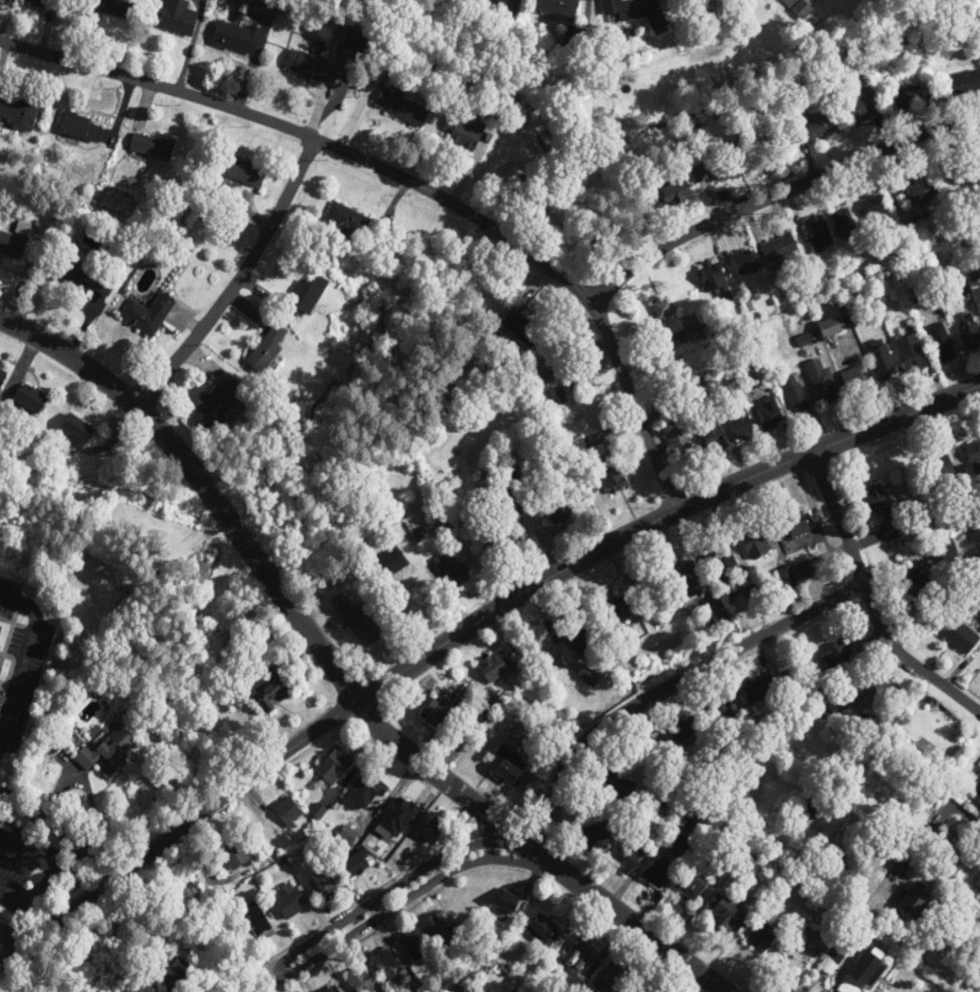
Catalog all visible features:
building: (42, 3)
building: (110, 7)
building: (555, 7)
building: (633, 10)
building: (801, 10)
building: (174, 17)
building: (233, 38)
building: (311, 67)
building: (959, 87)
building: (907, 97)
building: (400, 109)
building: (862, 109)
building: (18, 112)
building: (817, 126)
building: (79, 128)
building: (461, 134)
building: (150, 146)
building: (725, 168)
building: (239, 171)
road: (414, 182)
building: (921, 191)
road: (776, 193)
building: (672, 194)
building: (875, 208)
building: (346, 221)
building: (844, 224)
building: (818, 234)
building: (14, 242)
building: (779, 249)
building: (745, 262)
building: (83, 277)
road: (240, 279)
building: (713, 280)
building: (305, 294)
building: (663, 308)
building: (146, 315)
building: (520, 328)
building: (829, 328)
building: (693, 329)
building: (969, 334)
building: (943, 343)
building: (266, 351)
building: (912, 354)
building: (883, 362)
building: (746, 373)
building: (1, 374)
building: (576, 376)
building: (855, 380)
building: (822, 382)
road: (608, 391)
building: (795, 394)
building: (30, 400)
building: (216, 403)
building: (769, 415)
building: (739, 422)
building: (75, 432)
building: (711, 435)
building: (681, 446)
building: (576, 447)
building: (974, 457)
building: (382, 470)
building: (942, 471)
building: (611, 476)
building: (507, 501)
building: (558, 505)
building: (887, 513)
building: (798, 526)
building: (502, 538)
building: (755, 545)
building: (724, 563)
building: (390, 564)
building: (451, 570)
building: (805, 571)
building: (787, 578)
building: (687, 582)
building: (910, 586)
road: (871, 602)
building: (620, 610)
building: (362, 621)
building: (958, 629)
road: (465, 630)
building: (576, 636)
building: (837, 655)
road: (26, 657)
building: (3, 666)
building: (494, 668)
road: (339, 672)
road: (667, 686)
building: (270, 689)
building: (760, 690)
building: (433, 713)
building: (685, 731)
building: (105, 754)
building: (334, 767)
building: (508, 769)
building: (619, 787)
road: (87, 790)
building: (978, 793)
building: (288, 813)
road: (970, 816)
building: (397, 817)
road: (61, 830)
building: (430, 833)
building: (591, 837)
building: (678, 845)
building: (952, 848)
building: (234, 854)
building: (629, 856)
road: (73, 864)
building: (353, 866)
road: (56, 874)
building: (658, 874)
building: (322, 883)
road: (406, 888)
building: (690, 889)
road: (202, 892)
road: (871, 897)
building: (507, 904)
building: (912, 904)
building: (289, 905)
building: (728, 914)
building: (255, 920)
building: (438, 931)
building: (543, 931)
road: (15, 935)
building: (762, 938)
building: (413, 946)
building: (577, 958)
building: (387, 965)
building: (861, 971)
road: (940, 972)
building: (174, 975)
building: (332, 989)
building: (639, 989)

